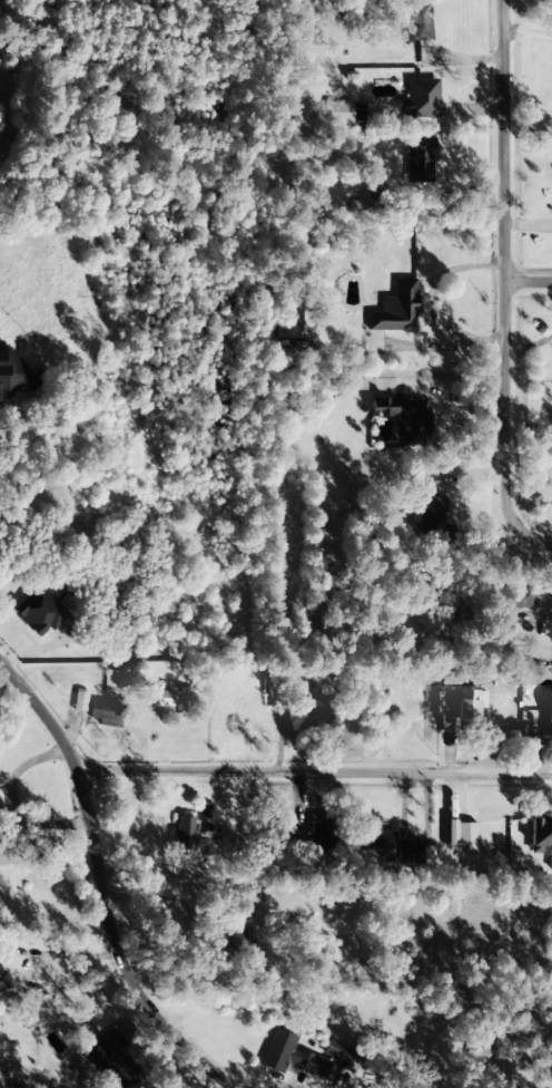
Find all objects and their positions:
building: (418, 30)
building: (420, 98)
building: (345, 115)
road: (472, 133)
building: (418, 162)
road: (513, 268)
building: (395, 310)
building: (293, 320)
building: (12, 376)
building: (404, 417)
road: (482, 440)
building: (432, 514)
building: (517, 596)
building: (41, 613)
building: (161, 699)
building: (79, 701)
building: (467, 709)
building: (106, 713)
building: (313, 713)
building: (549, 716)
road: (322, 773)
building: (203, 815)
building: (321, 832)
building: (185, 835)
building: (373, 836)
building: (461, 836)
building: (541, 836)
building: (300, 846)
road: (56, 853)
building: (405, 855)
road: (115, 870)
building: (235, 946)
road: (73, 955)
building: (3, 981)
building: (290, 1056)
building: (342, 1056)
building: (114, 1061)

